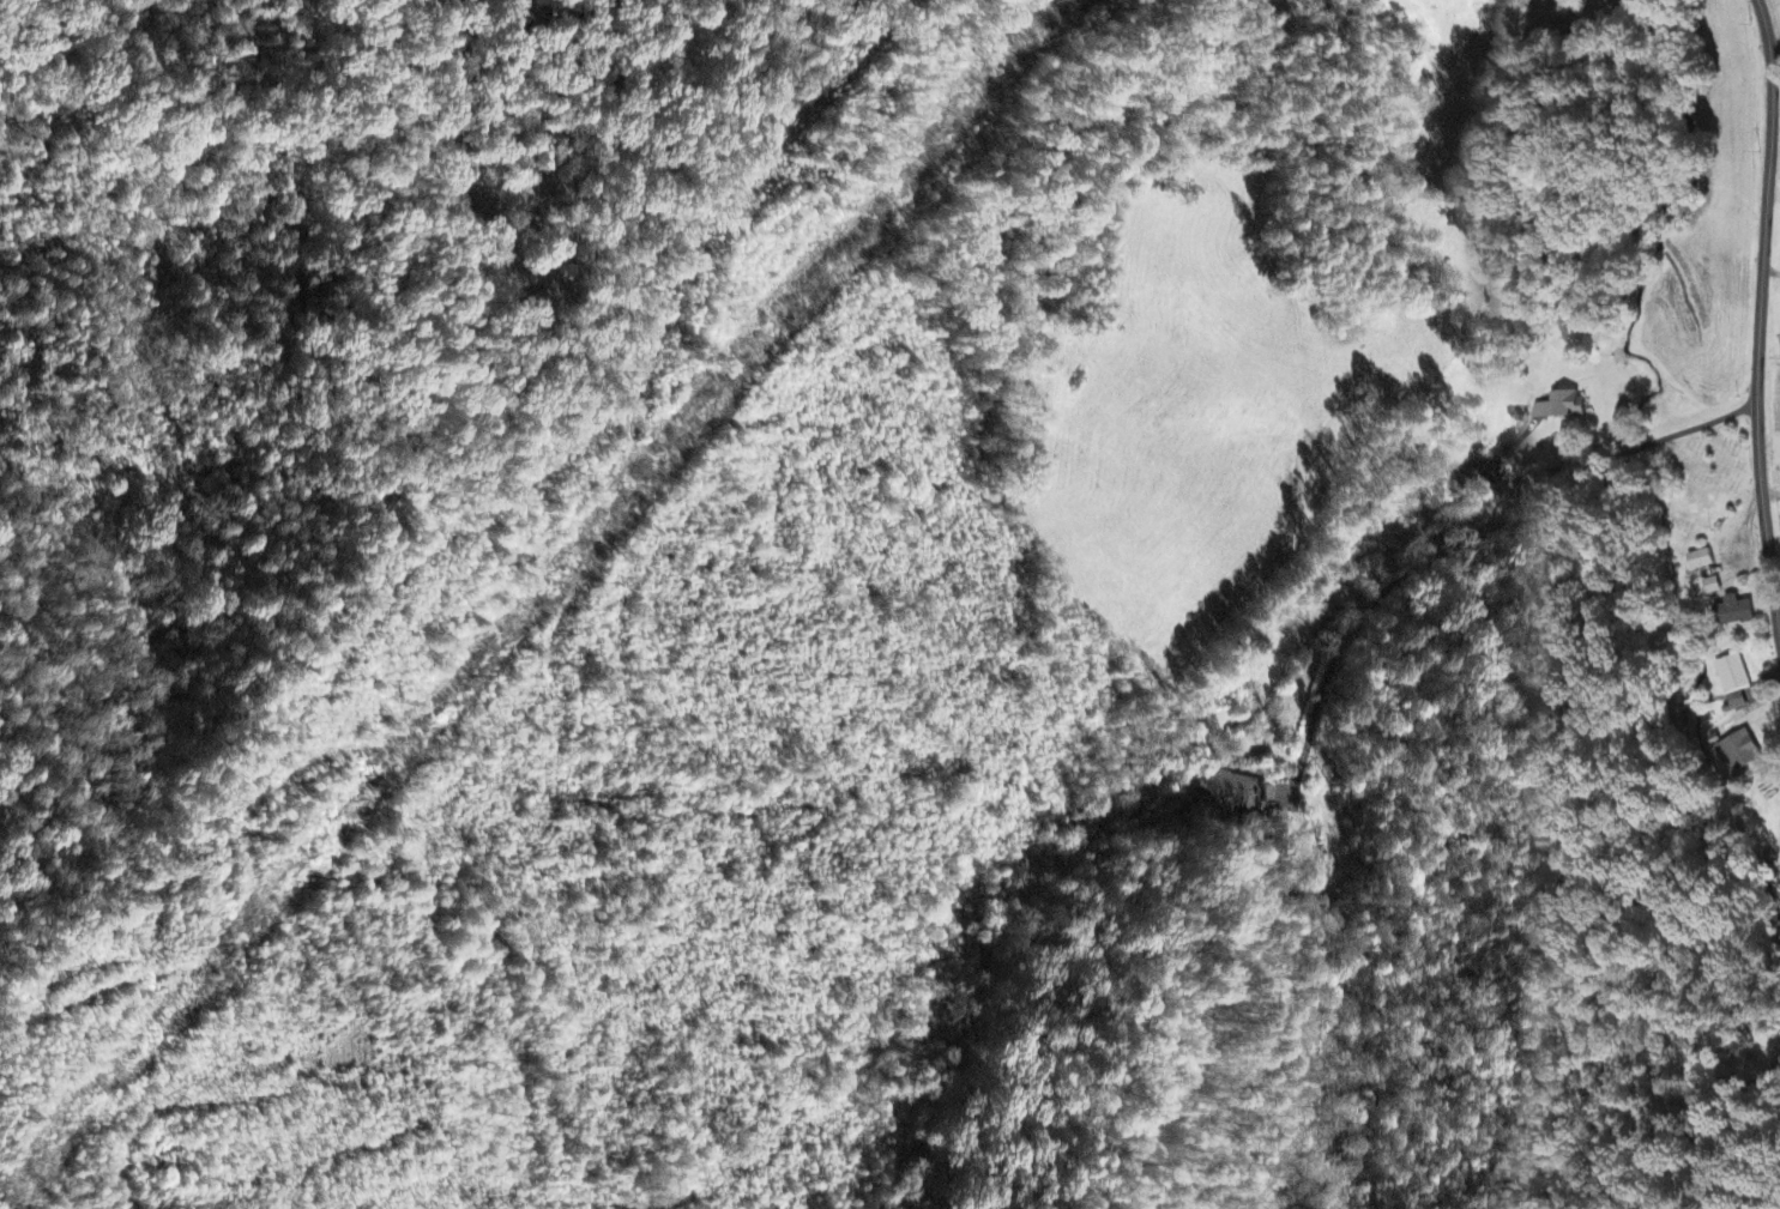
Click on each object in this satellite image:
road: (1774, 47)
road: (1773, 159)
building: (1559, 407)
building: (1700, 561)
building: (1712, 587)
building: (1732, 612)
building: (1733, 682)
building: (1738, 754)
building: (1235, 792)

